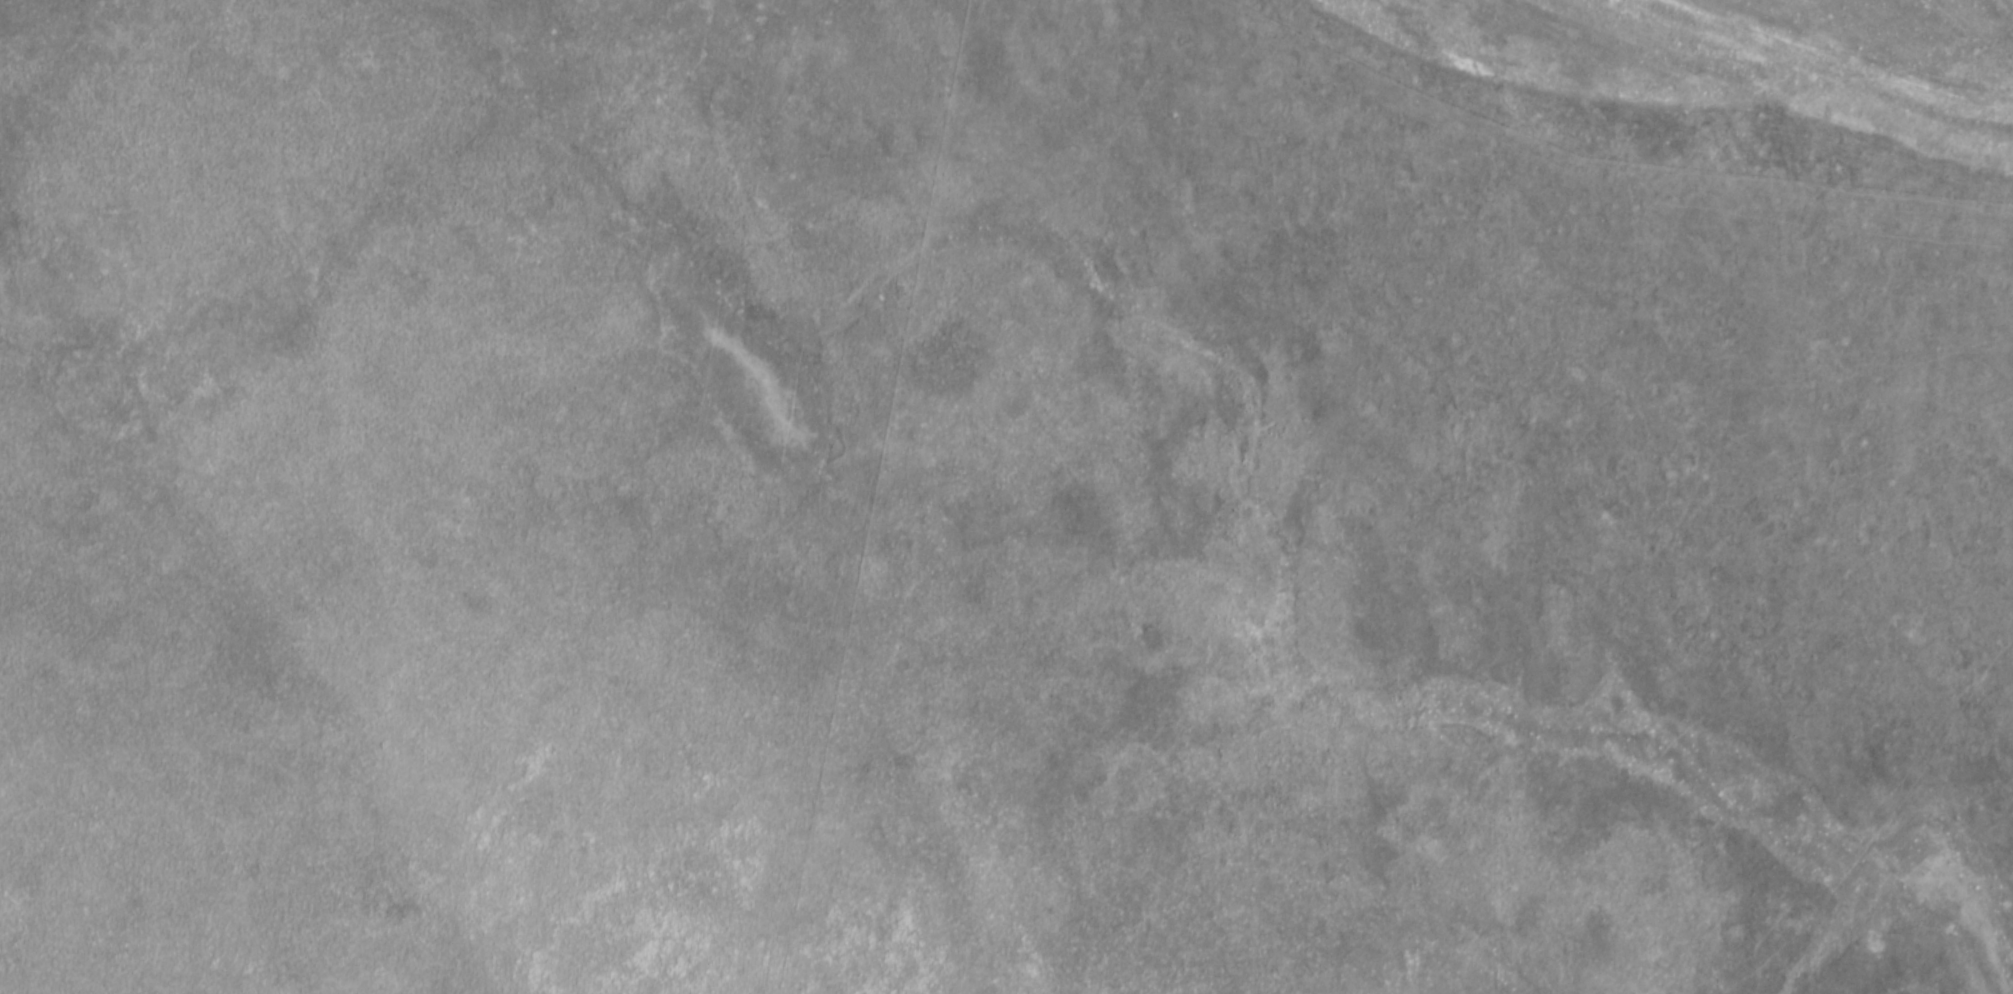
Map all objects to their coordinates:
crop: (1867, 27)

